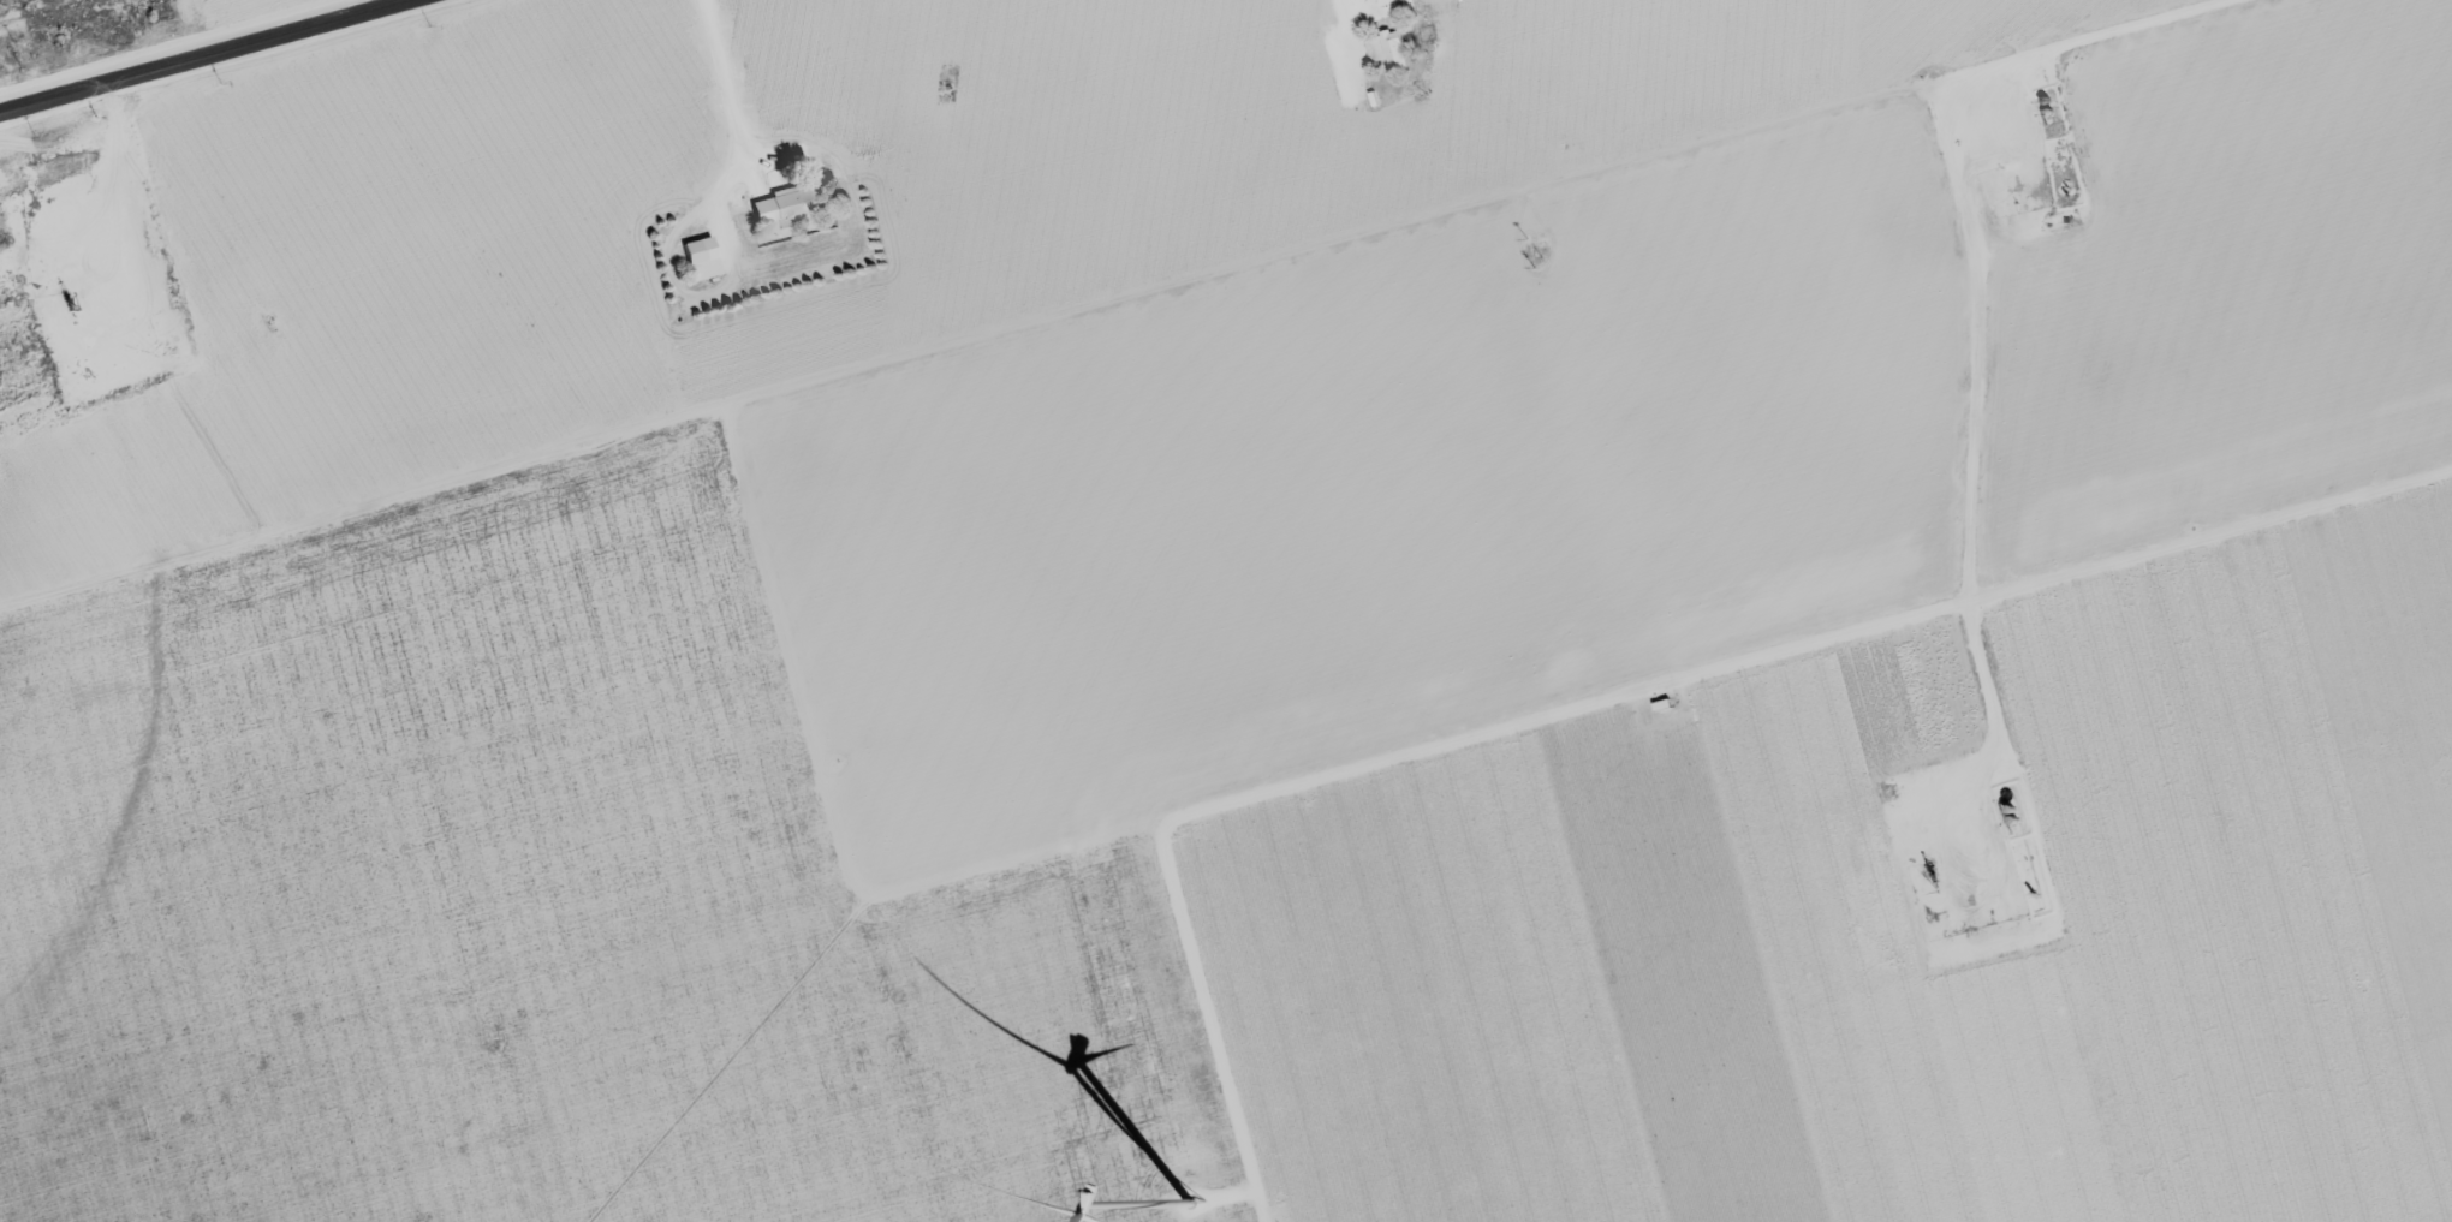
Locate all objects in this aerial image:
building: (1388, 47)
road: (228, 62)
building: (782, 204)
building: (701, 257)
wind turbine: (1183, 1188)

